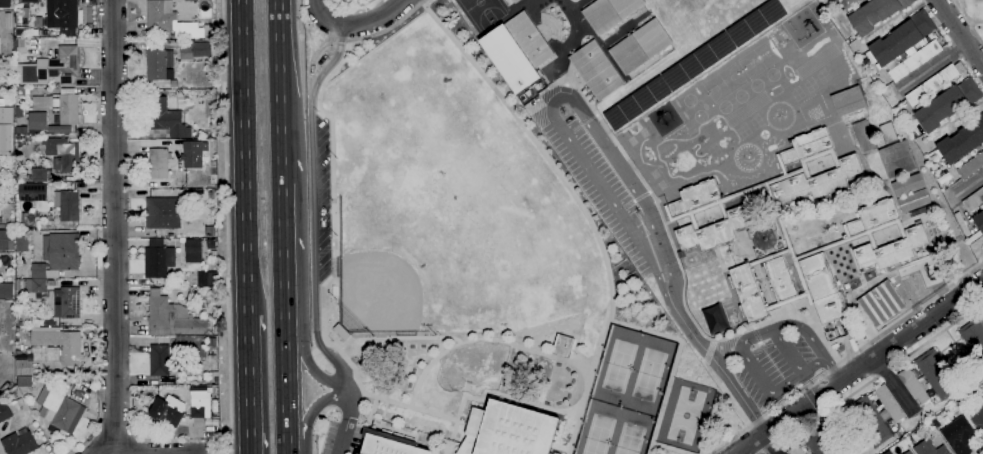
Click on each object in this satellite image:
building: (28, 1)
building: (514, 1)
building: (847, 3)
building: (4, 4)
road: (315, 4)
road: (351, 6)
park: (481, 12)
building: (608, 13)
building: (65, 14)
building: (876, 14)
building: (160, 15)
road: (343, 16)
road: (965, 18)
building: (7, 21)
road: (359, 24)
building: (186, 30)
building: (21, 32)
road: (975, 32)
road: (959, 33)
building: (527, 39)
building: (902, 39)
road: (344, 41)
building: (19, 44)
building: (640, 46)
building: (187, 47)
building: (199, 49)
road: (278, 49)
building: (509, 59)
park: (757, 60)
building: (915, 60)
building: (694, 63)
building: (158, 64)
building: (64, 65)
road: (932, 66)
building: (595, 70)
building: (29, 74)
park: (770, 75)
park: (722, 83)
building: (932, 85)
park: (755, 86)
building: (21, 91)
building: (7, 95)
road: (554, 96)
park: (738, 96)
building: (848, 101)
building: (6, 103)
building: (948, 105)
building: (60, 106)
park: (723, 107)
building: (19, 112)
building: (166, 118)
building: (37, 122)
building: (60, 130)
building: (5, 131)
building: (17, 131)
building: (888, 133)
road: (244, 140)
road: (280, 140)
building: (963, 141)
building: (62, 154)
building: (193, 154)
building: (897, 160)
building: (158, 164)
building: (971, 167)
building: (35, 176)
road: (332, 177)
road: (975, 179)
building: (908, 185)
park: (462, 186)
parking lot: (602, 190)
building: (32, 192)
parking lot: (322, 198)
building: (914, 201)
building: (974, 201)
building: (67, 205)
road: (580, 206)
road: (313, 209)
building: (920, 211)
building: (163, 213)
building: (1, 215)
building: (979, 221)
road: (114, 227)
road: (225, 227)
building: (865, 227)
building: (209, 231)
building: (765, 239)
building: (6, 241)
building: (22, 244)
building: (211, 245)
road: (281, 246)
building: (62, 251)
building: (193, 251)
building: (213, 255)
park: (491, 256)
building: (158, 259)
park: (398, 271)
building: (39, 272)
building: (207, 279)
building: (30, 287)
building: (6, 291)
road: (247, 298)
building: (66, 303)
building: (881, 304)
building: (172, 318)
building: (50, 324)
building: (214, 327)
building: (341, 332)
building: (974, 337)
road: (487, 341)
building: (561, 345)
building: (50, 349)
road: (787, 351)
road: (744, 352)
road: (872, 357)
road: (847, 358)
road: (304, 359)
building: (159, 360)
road: (674, 361)
park: (618, 366)
road: (833, 367)
parking lot: (775, 368)
park: (648, 374)
road: (724, 377)
road: (873, 378)
building: (930, 379)
building: (24, 381)
road: (284, 381)
road: (248, 384)
road: (892, 385)
road: (805, 388)
building: (198, 391)
road: (465, 395)
road: (812, 400)
building: (200, 407)
building: (58, 411)
building: (168, 411)
building: (4, 412)
road: (821, 412)
road: (309, 414)
park: (685, 415)
building: (876, 416)
building: (977, 416)
road: (345, 422)
road: (366, 425)
building: (508, 431)
park: (598, 435)
building: (958, 435)
parking lot: (341, 438)
park: (629, 439)
building: (817, 443)
building: (20, 444)
road: (312, 444)
road: (749, 444)
road: (770, 444)
building: (389, 446)
road: (669, 449)
building: (929, 449)
building: (889, 452)
building: (909, 452)

